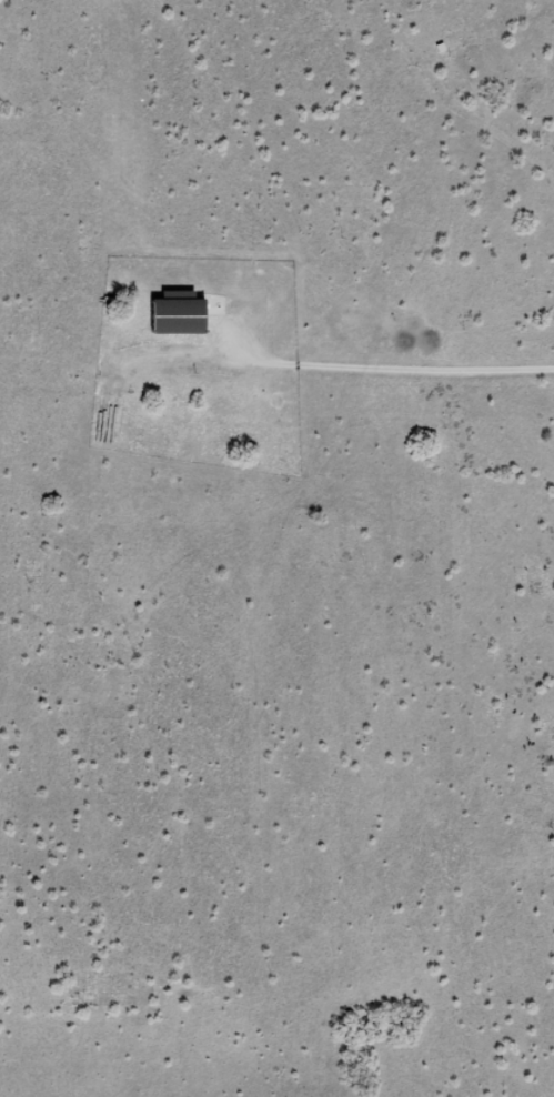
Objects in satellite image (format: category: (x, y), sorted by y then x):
building: (173, 314)

